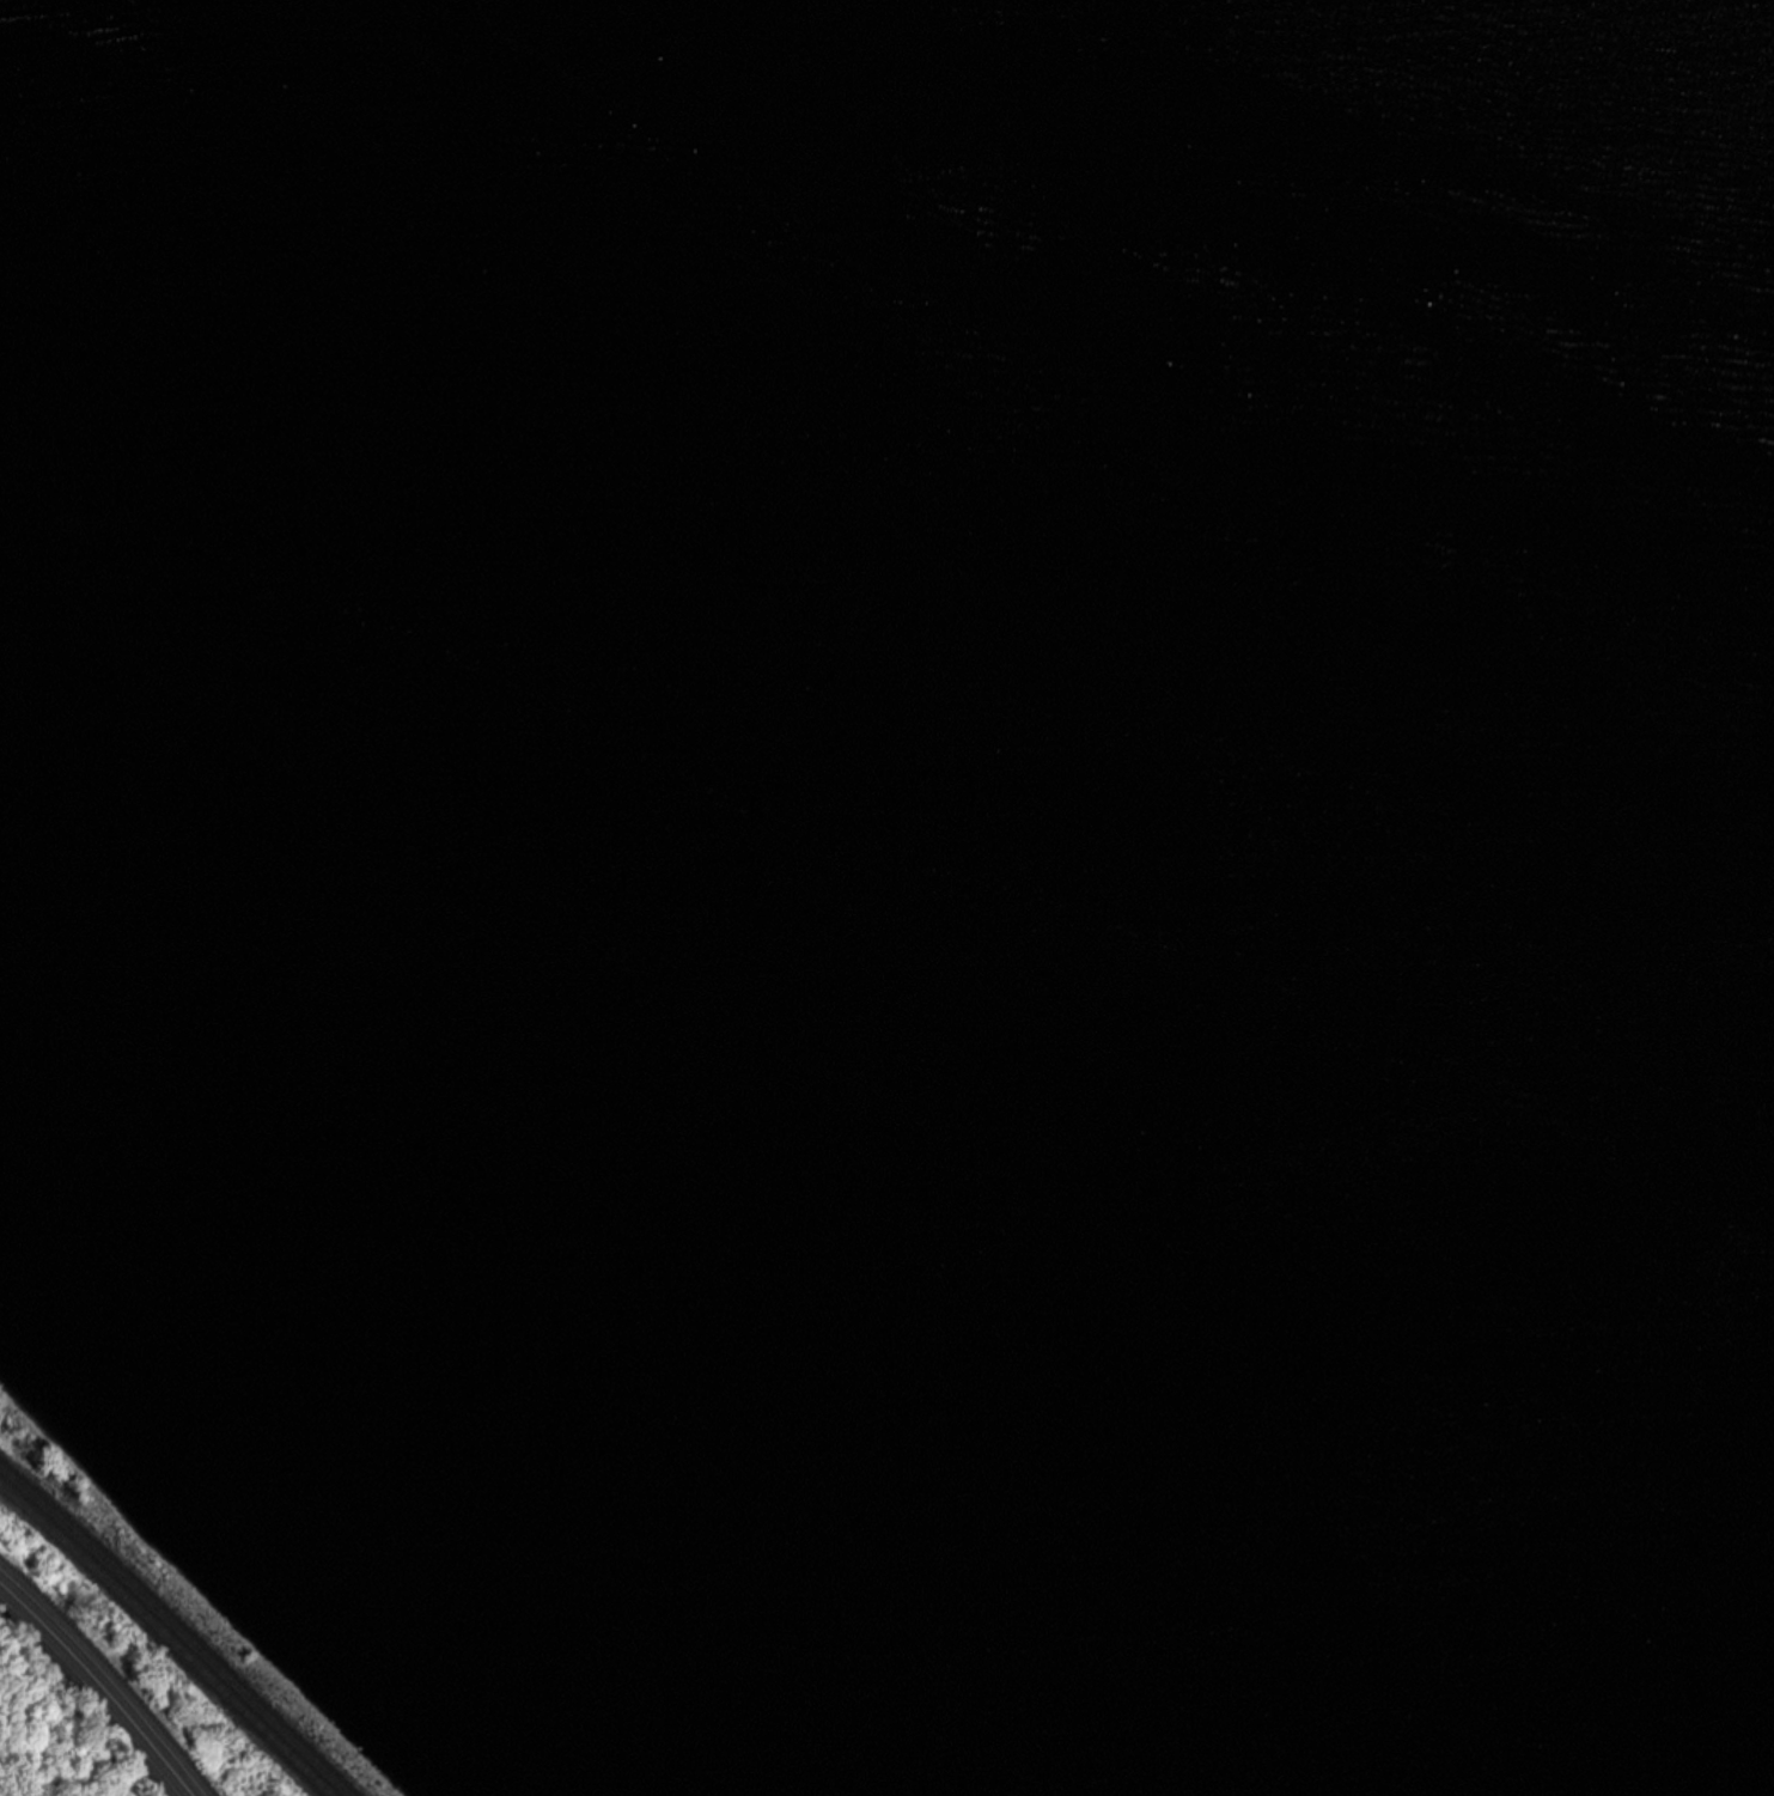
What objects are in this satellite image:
railway: (177, 1630)
railway: (167, 1638)
road: (98, 1685)

